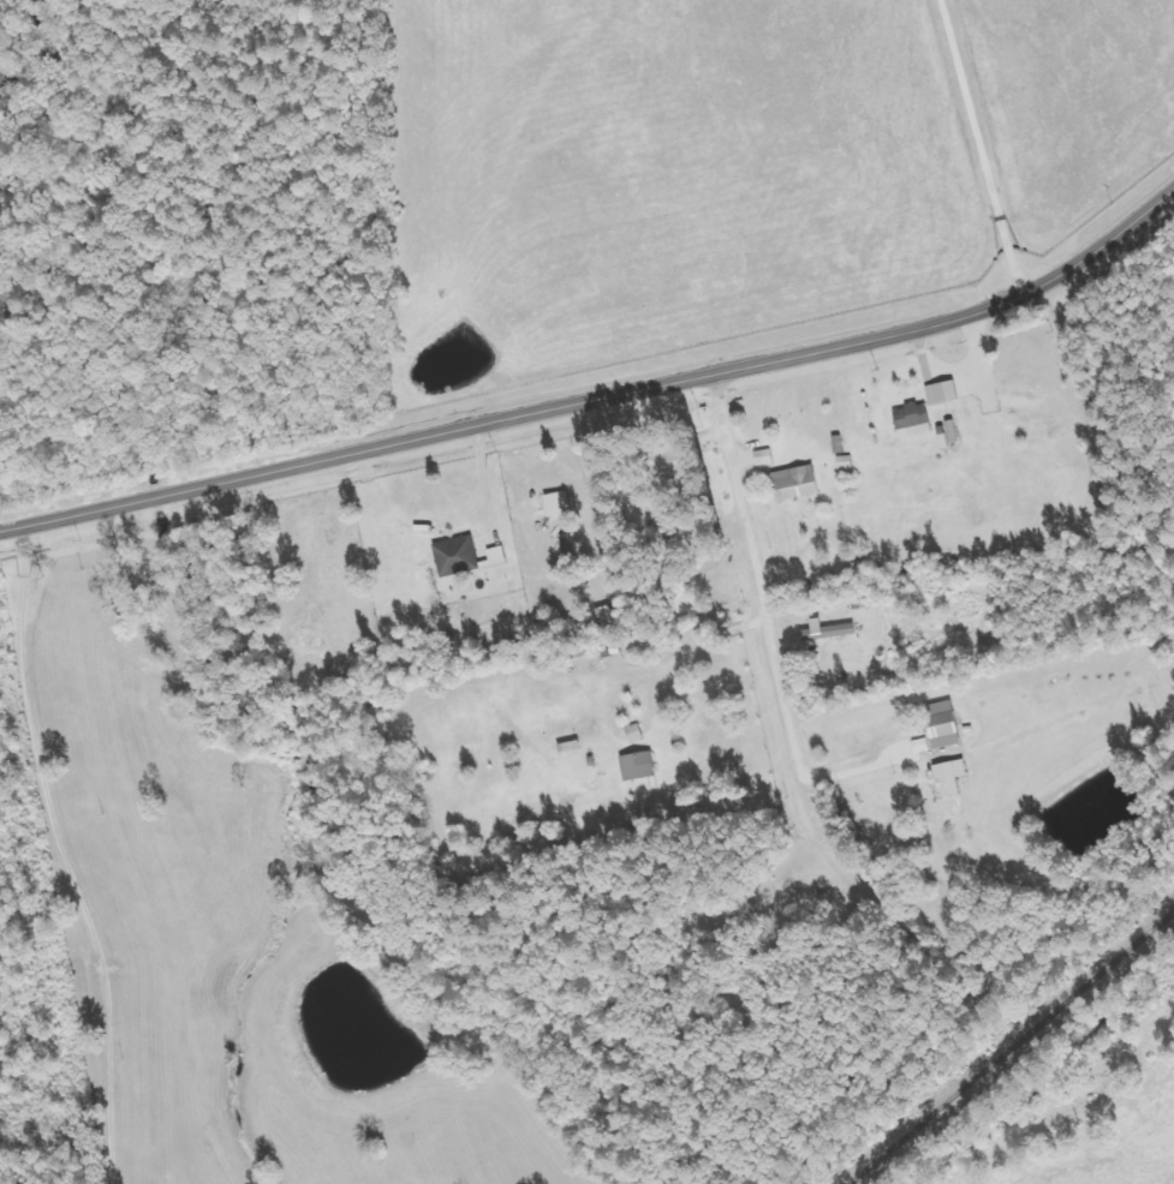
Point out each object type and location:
road: (602, 400)
building: (1024, 402)
building: (910, 414)
building: (674, 464)
building: (793, 482)
building: (699, 531)
building: (452, 555)
building: (493, 555)
road: (757, 578)
building: (823, 632)
building: (906, 696)
building: (940, 724)
building: (634, 765)
road: (857, 769)
building: (943, 778)
railway: (1006, 1045)

